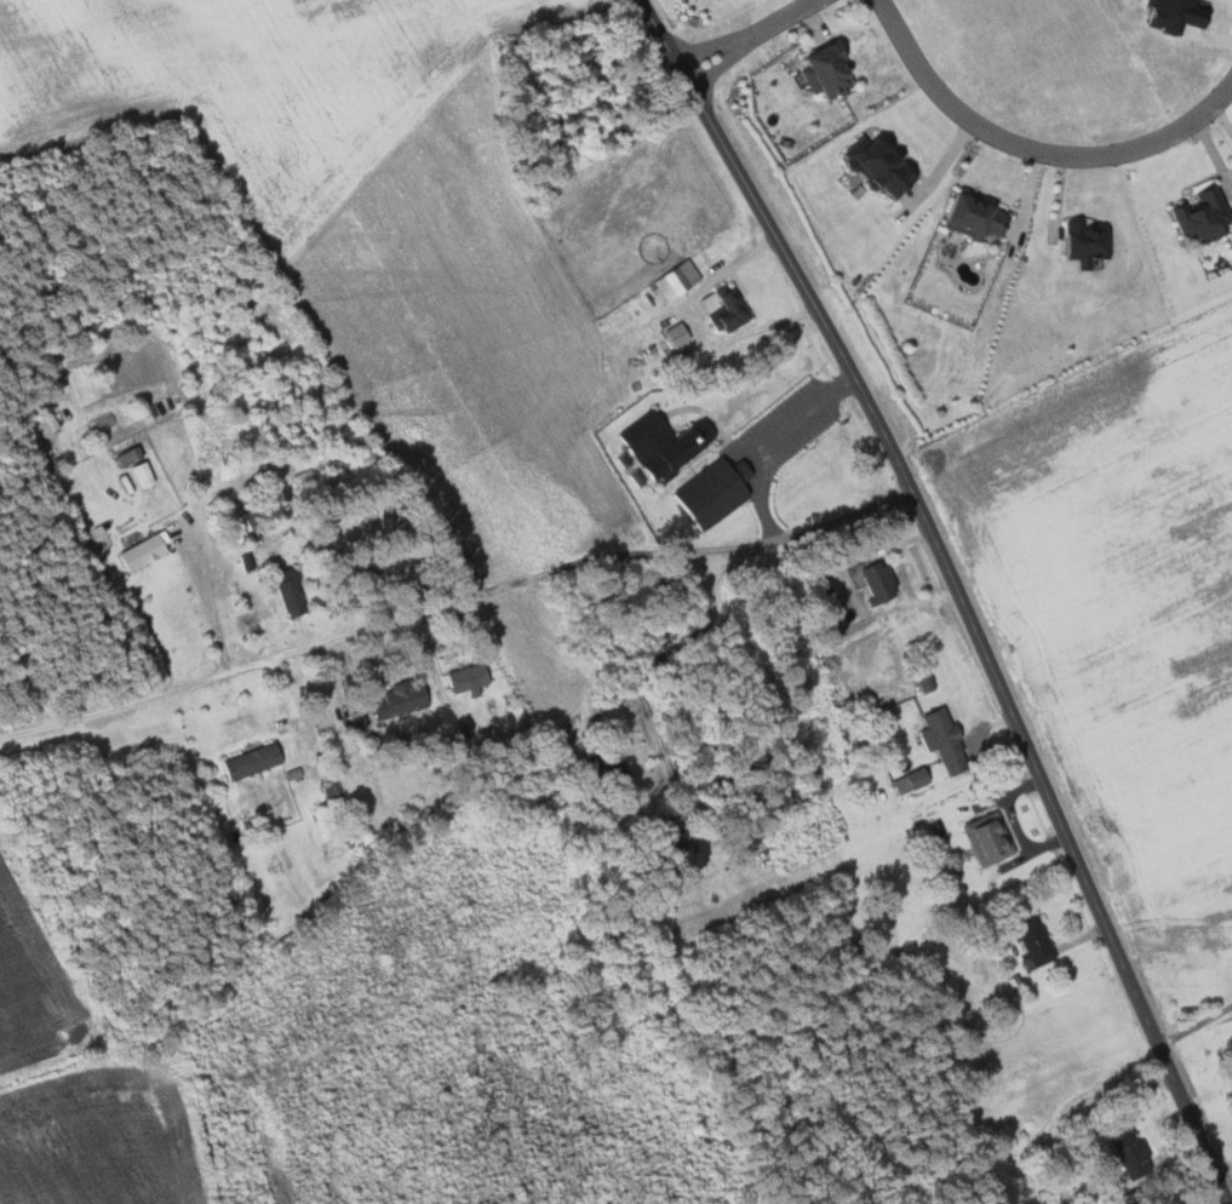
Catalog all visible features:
road: (750, 38)
building: (832, 70)
road: (1033, 148)
building: (870, 165)
building: (1199, 216)
building: (973, 218)
building: (1083, 240)
road: (780, 242)
building: (680, 280)
building: (728, 308)
road: (770, 435)
building: (665, 443)
building: (133, 457)
building: (150, 472)
building: (714, 493)
building: (256, 524)
building: (147, 551)
building: (881, 580)
building: (294, 591)
road: (212, 607)
road: (455, 607)
road: (700, 631)
building: (472, 678)
building: (403, 700)
building: (946, 739)
building: (257, 761)
building: (606, 768)
building: (912, 780)
building: (990, 837)
road: (1071, 845)
building: (1038, 939)
road: (1198, 1017)
building: (1135, 1152)

